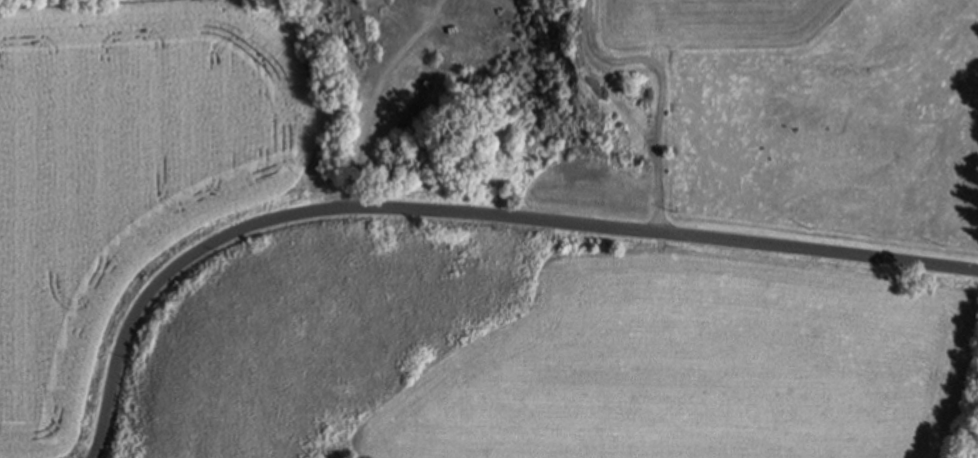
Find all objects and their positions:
road: (658, 90)
road: (379, 94)
quarry: (448, 103)
road: (464, 212)

